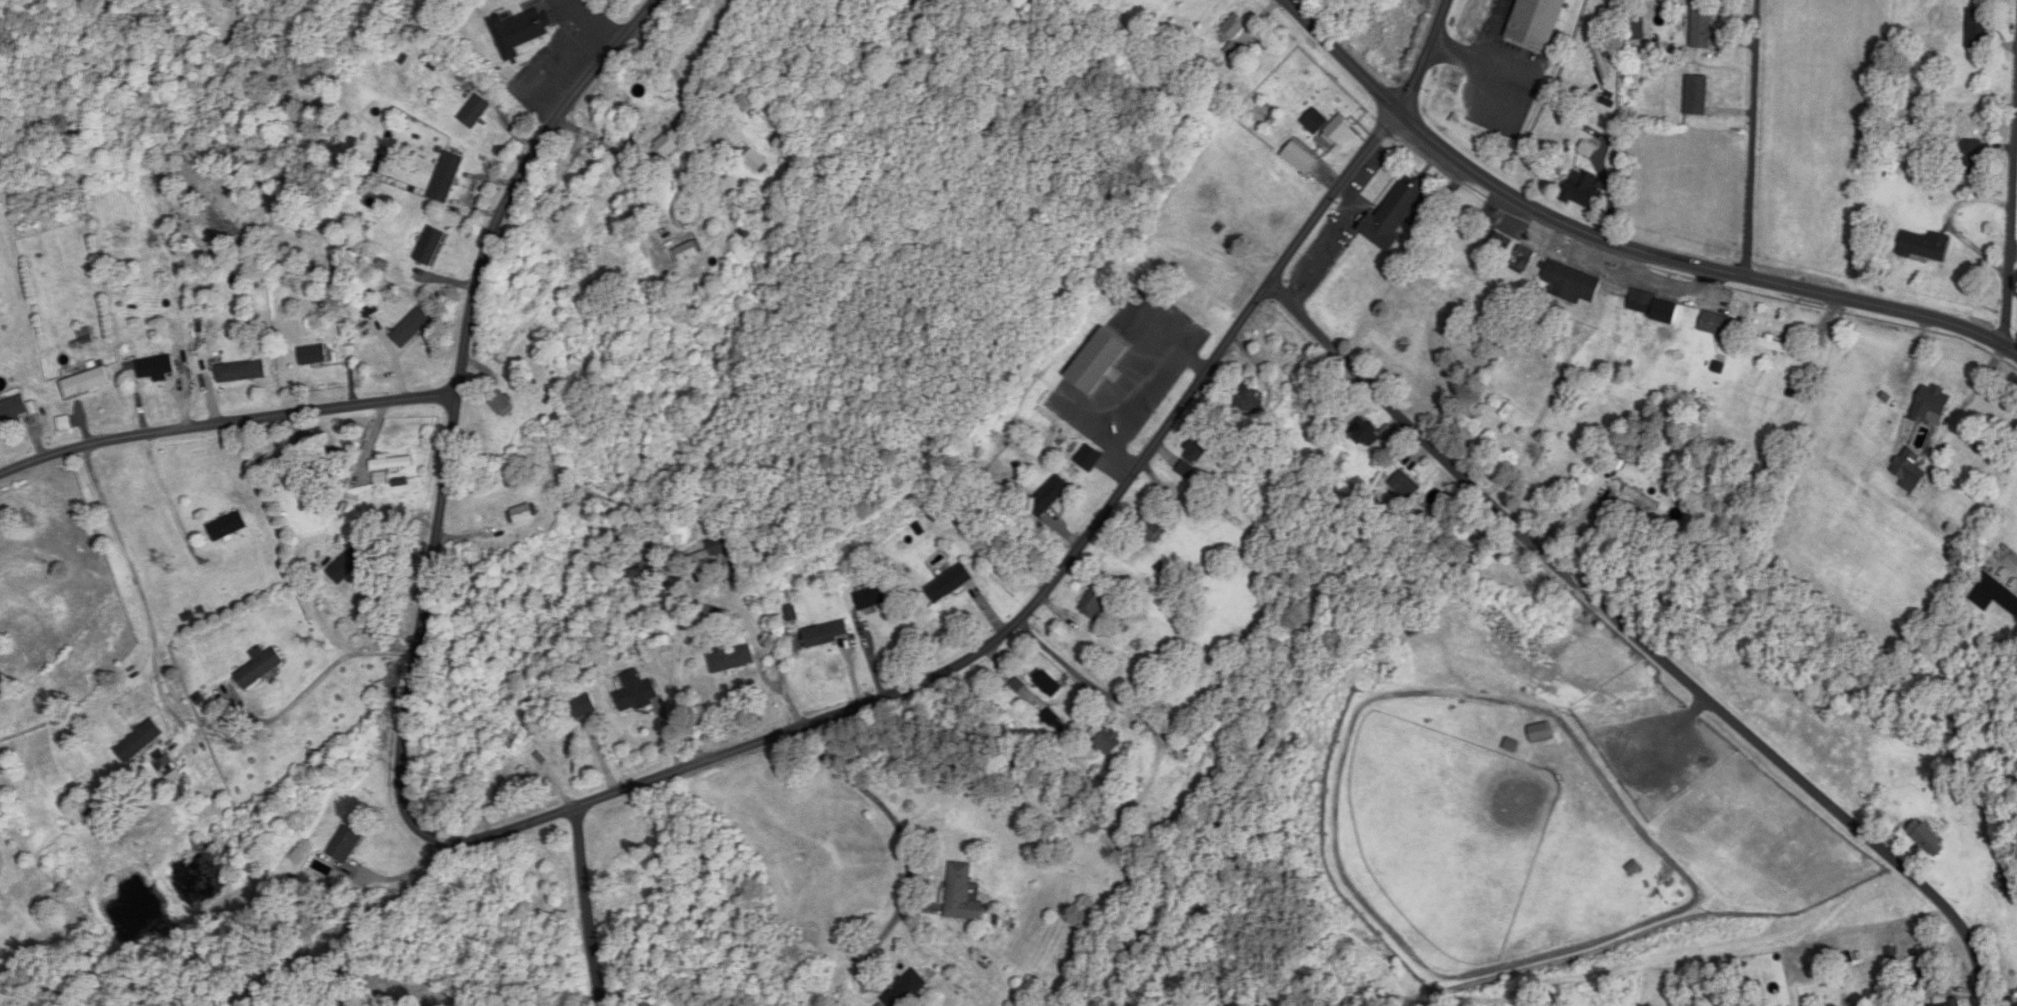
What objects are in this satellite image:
building: (1536, 23)
building: (1701, 28)
building: (1232, 29)
building: (1976, 30)
building: (523, 32)
building: (1636, 33)
road: (1426, 57)
building: (1601, 63)
road: (682, 72)
building: (1695, 96)
building: (476, 112)
building: (1314, 122)
building: (1338, 130)
road: (1753, 139)
building: (669, 148)
building: (1298, 159)
building: (1970, 159)
building: (757, 162)
building: (446, 178)
building: (1580, 189)
building: (1392, 215)
building: (746, 234)
road: (2011, 234)
building: (1501, 242)
road: (1617, 243)
building: (432, 247)
building: (1924, 247)
building: (689, 253)
building: (1523, 260)
building: (1571, 284)
building: (1652, 307)
building: (1537, 316)
building: (1716, 326)
building: (414, 328)
building: (1795, 333)
building: (1775, 346)
building: (314, 356)
building: (1101, 362)
building: (156, 368)
building: (242, 372)
building: (1798, 378)
building: (87, 382)
building: (502, 404)
building: (1930, 404)
building: (13, 409)
road: (223, 424)
building: (1362, 432)
building: (1196, 452)
building: (1089, 458)
building: (389, 467)
building: (1908, 471)
building: (1404, 486)
building: (1050, 496)
building: (1641, 499)
road: (168, 501)
building: (524, 515)
building: (1148, 525)
building: (227, 527)
building: (710, 551)
building: (351, 563)
building: (653, 564)
building: (949, 584)
road: (139, 588)
building: (1994, 594)
building: (871, 599)
building: (1095, 606)
road: (322, 624)
building: (1415, 626)
building: (827, 635)
road: (1642, 639)
building: (731, 660)
road: (1065, 662)
building: (262, 667)
road: (678, 675)
road: (316, 683)
building: (1049, 685)
building: (637, 693)
building: (585, 708)
building: (1538, 733)
building: (141, 741)
building: (1107, 741)
road: (602, 798)
building: (1926, 839)
road: (902, 841)
building: (348, 844)
building: (962, 894)
road: (597, 903)
building: (2011, 981)
building: (908, 990)
building: (1936, 990)
building: (2008, 1002)

